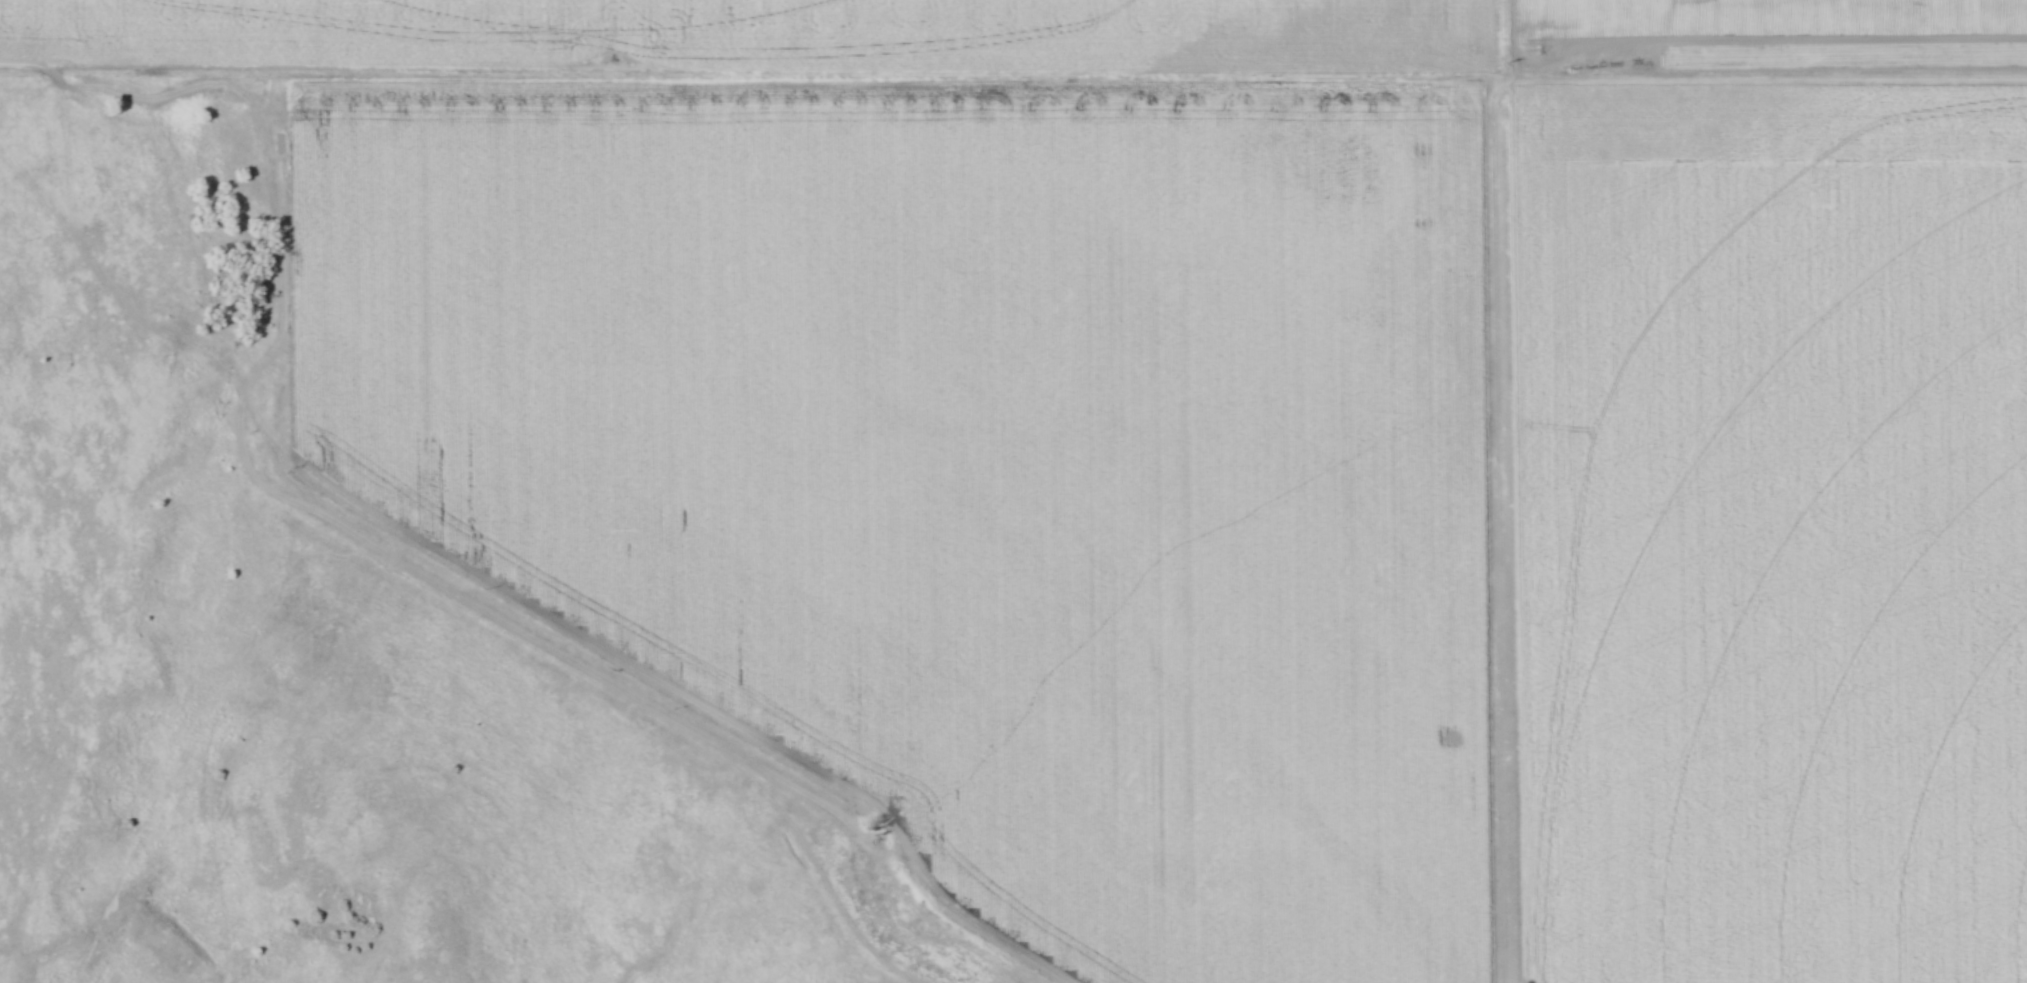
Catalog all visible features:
crop: (1041, 34)
crop: (975, 469)
crop: (1773, 533)

